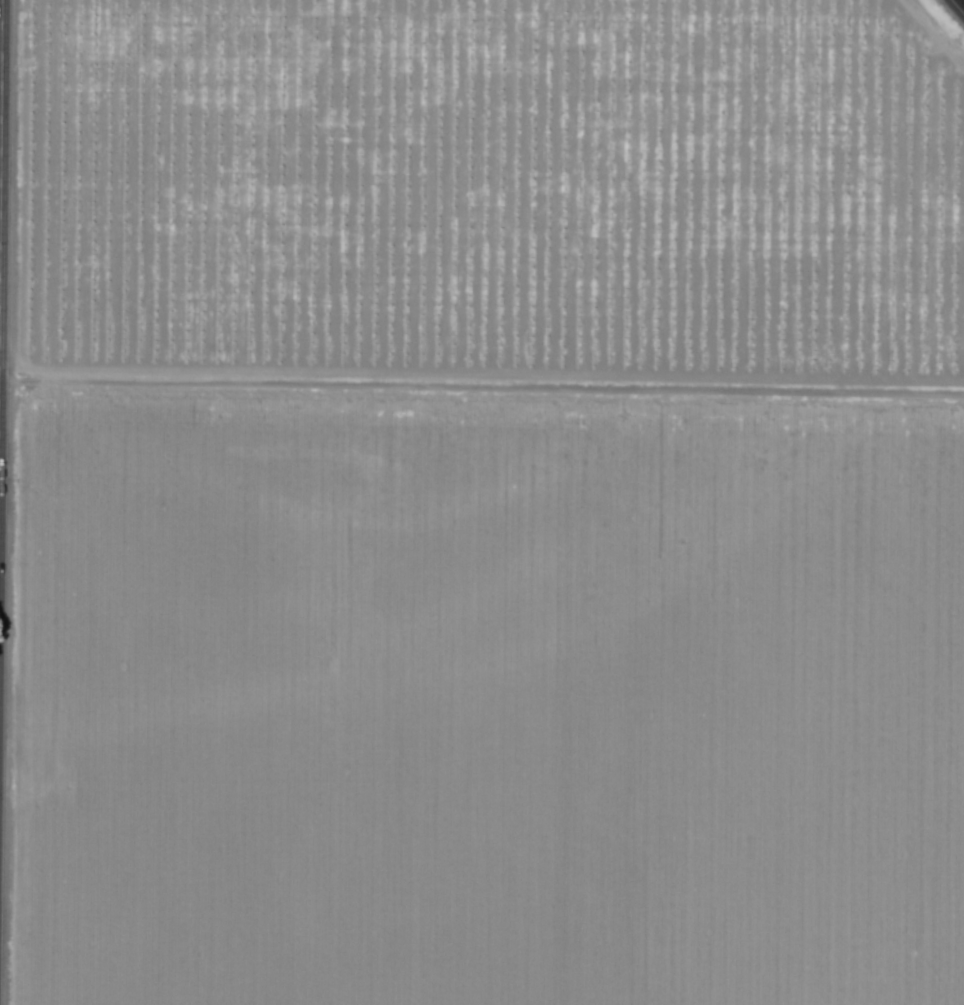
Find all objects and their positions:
road: (0, 113)

